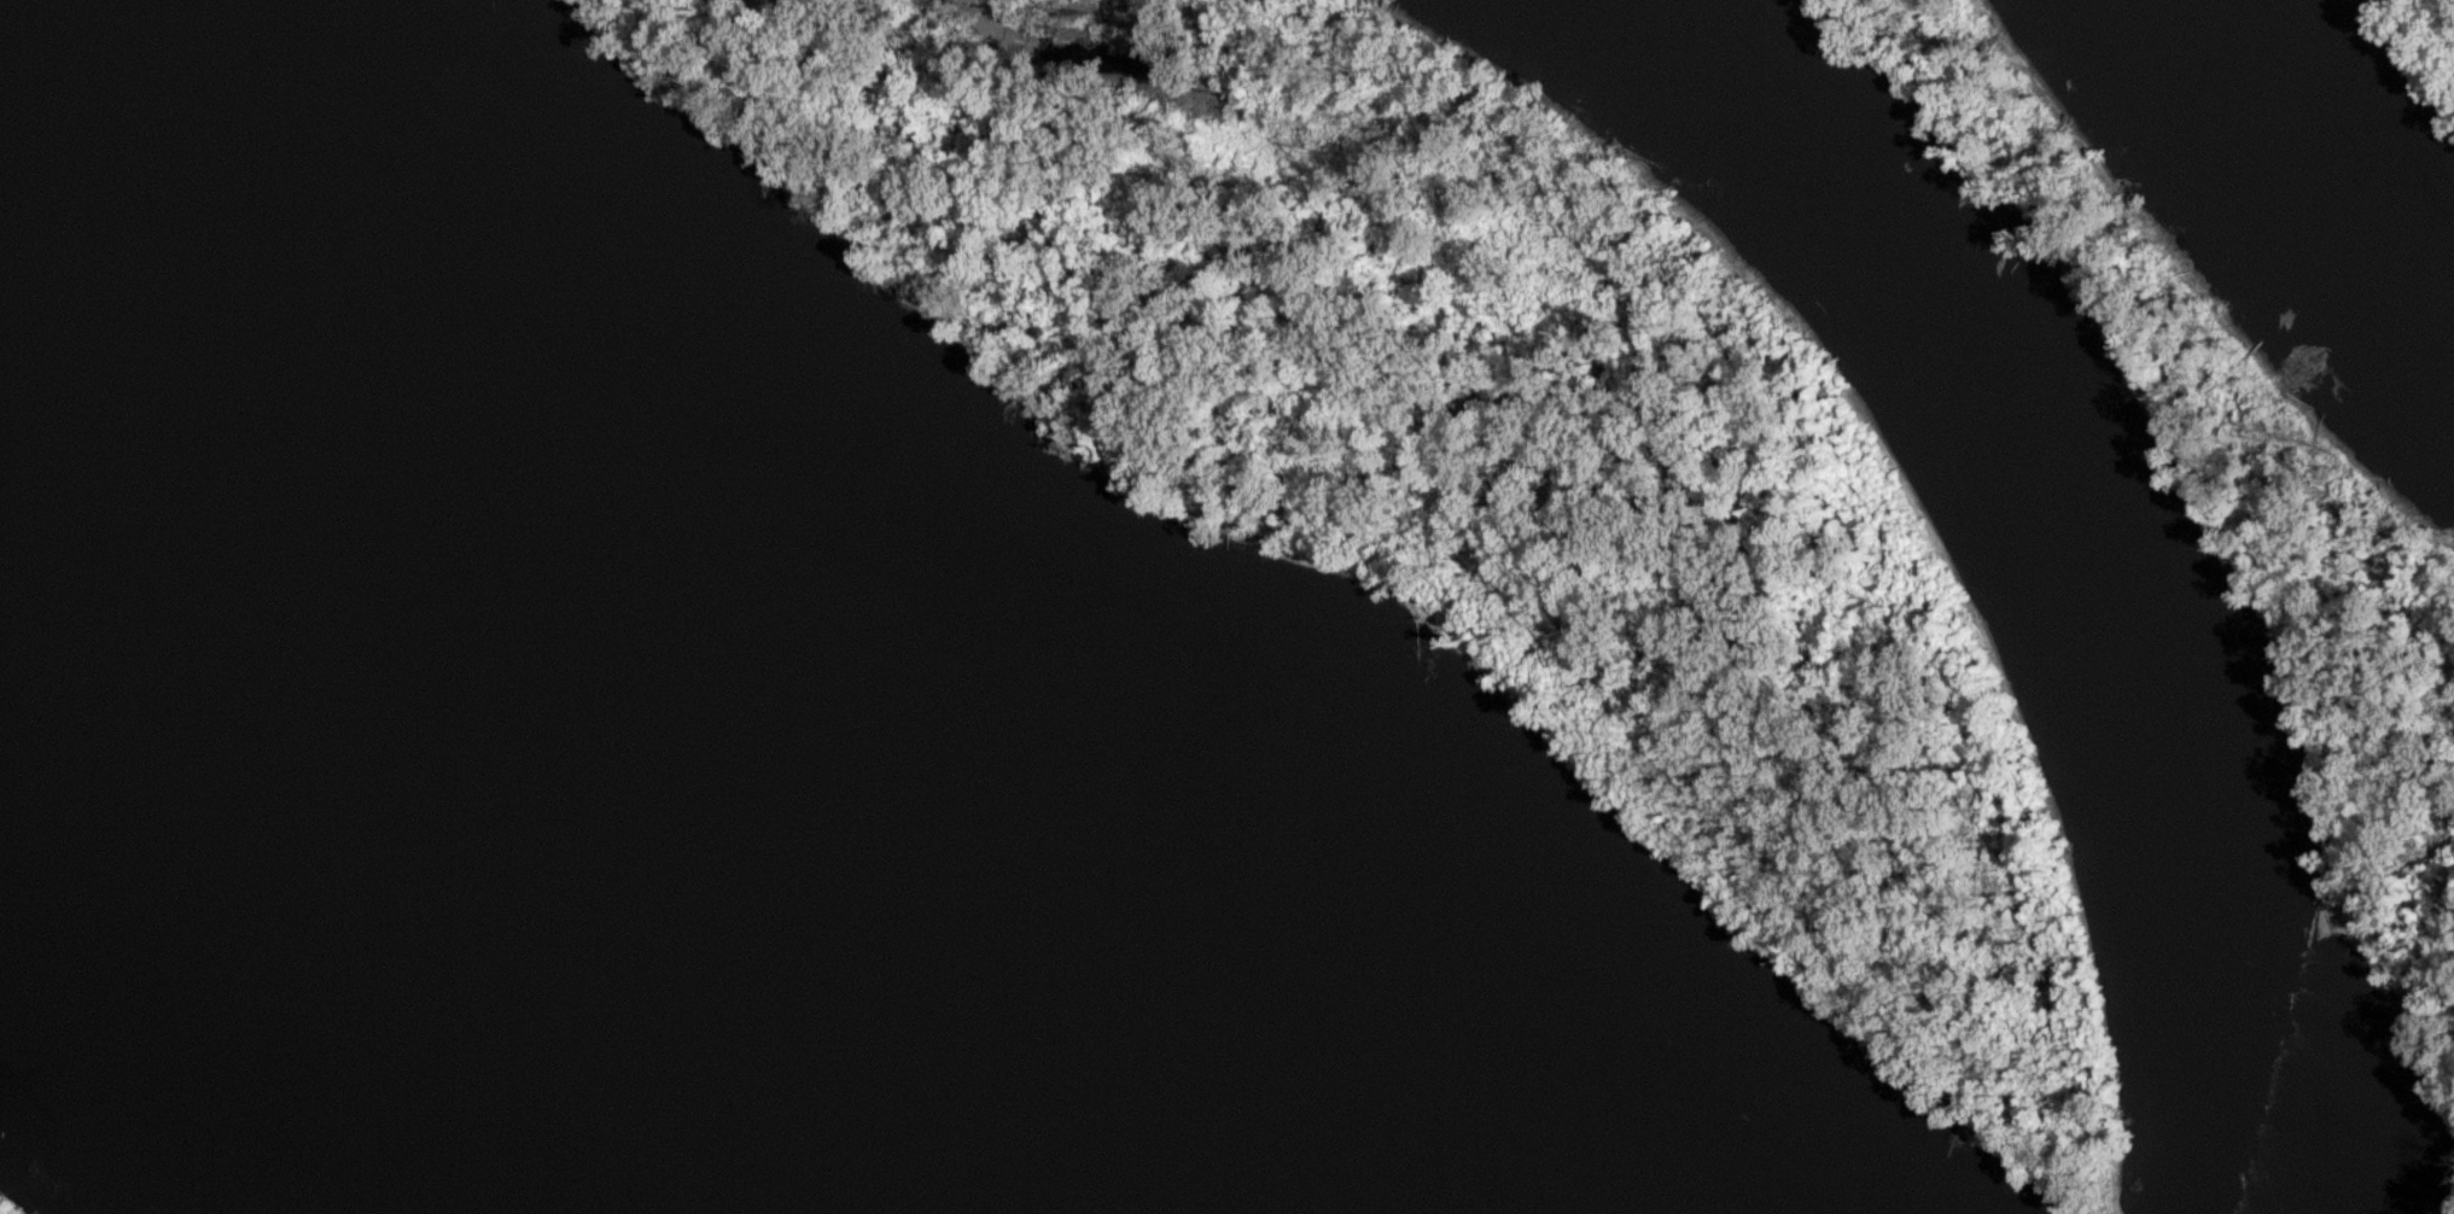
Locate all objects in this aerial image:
river: (2316, 158)
river: (502, 830)

